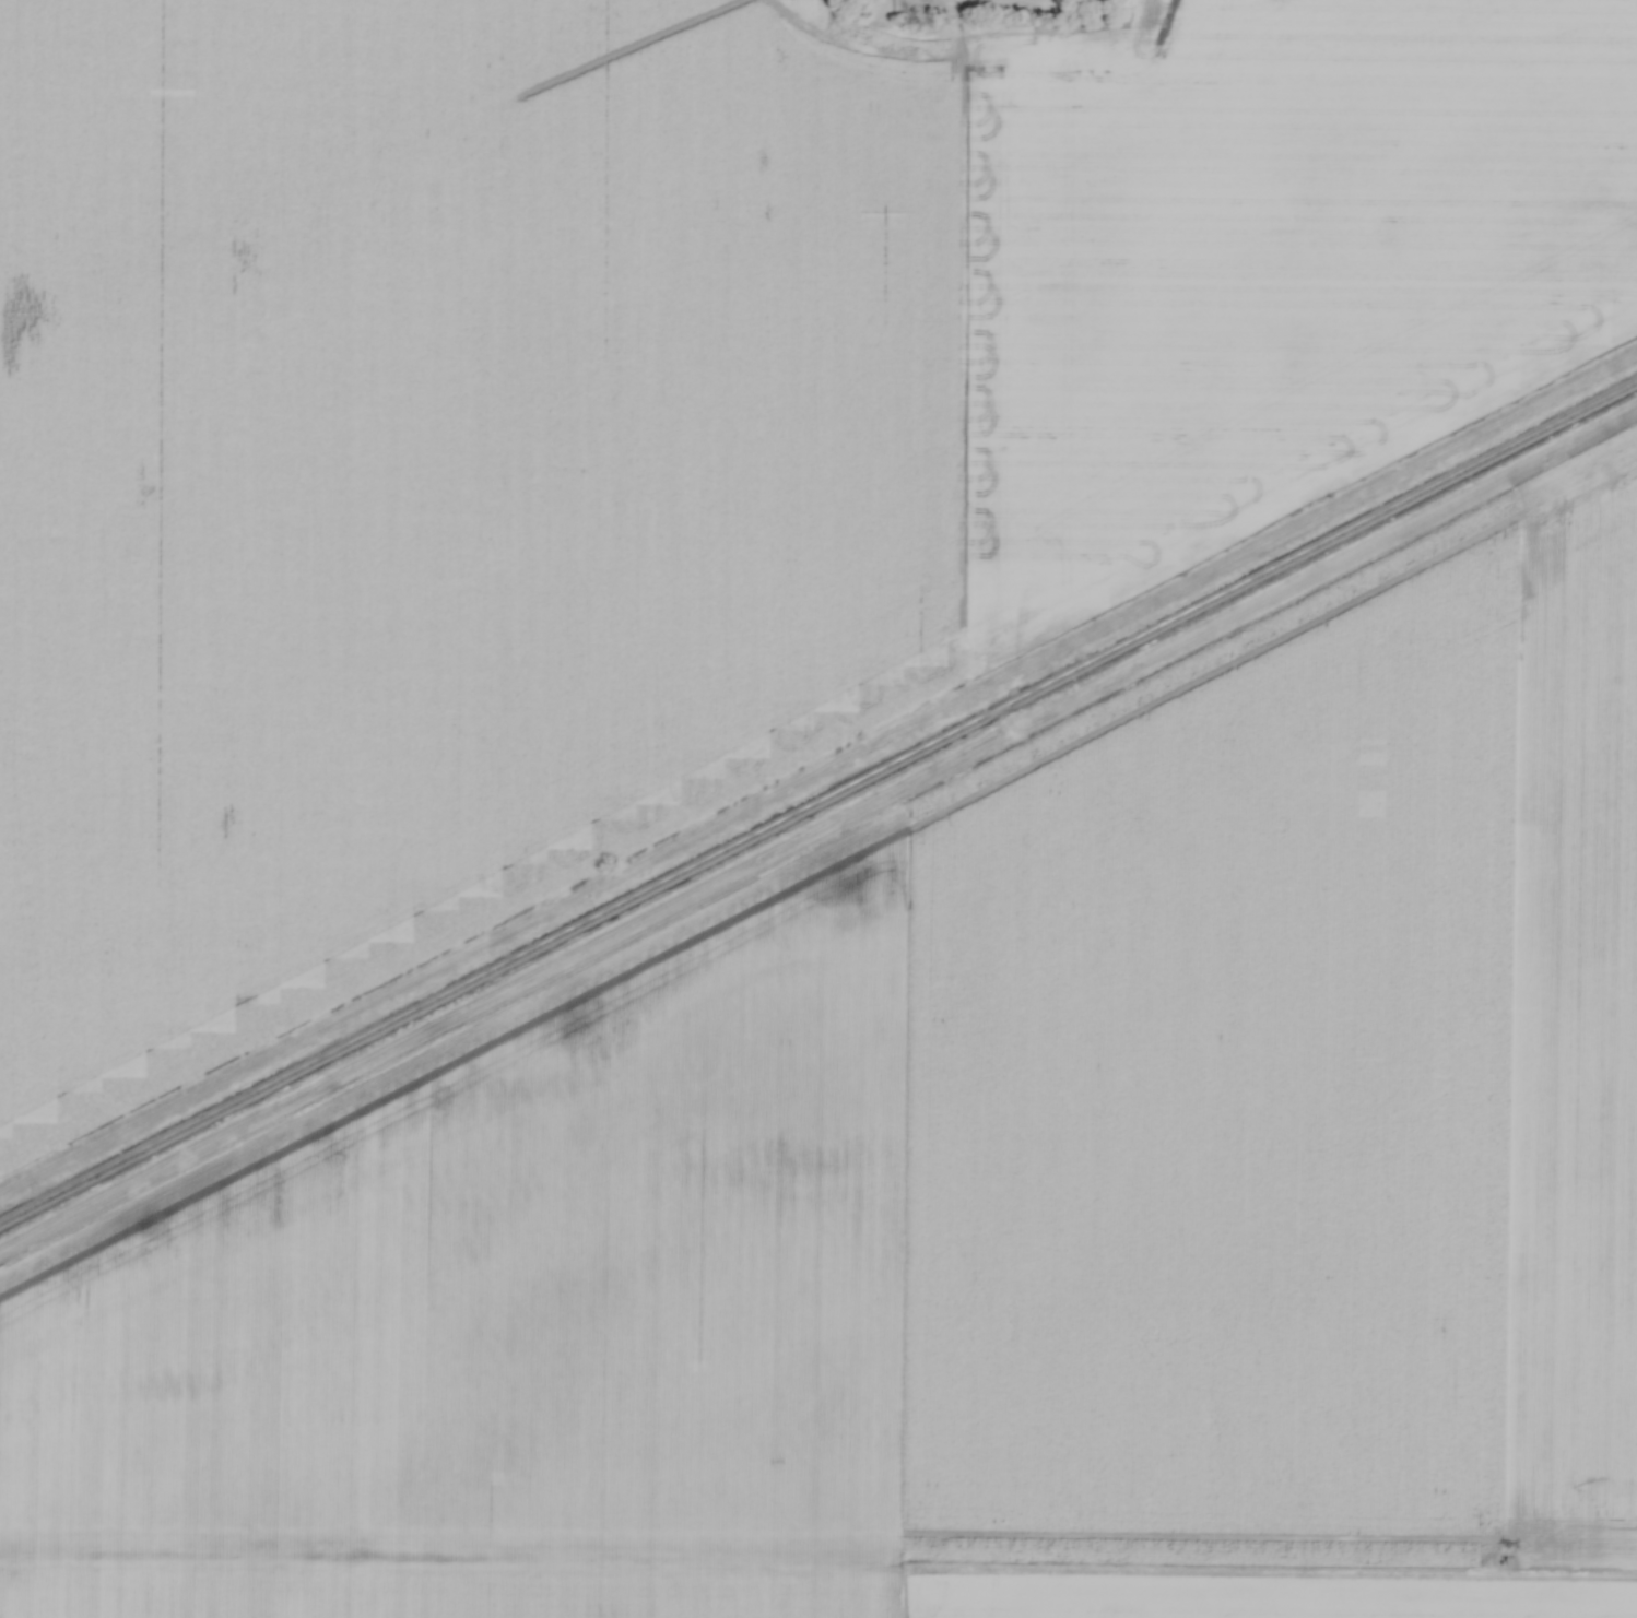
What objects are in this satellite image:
railway: (818, 792)

